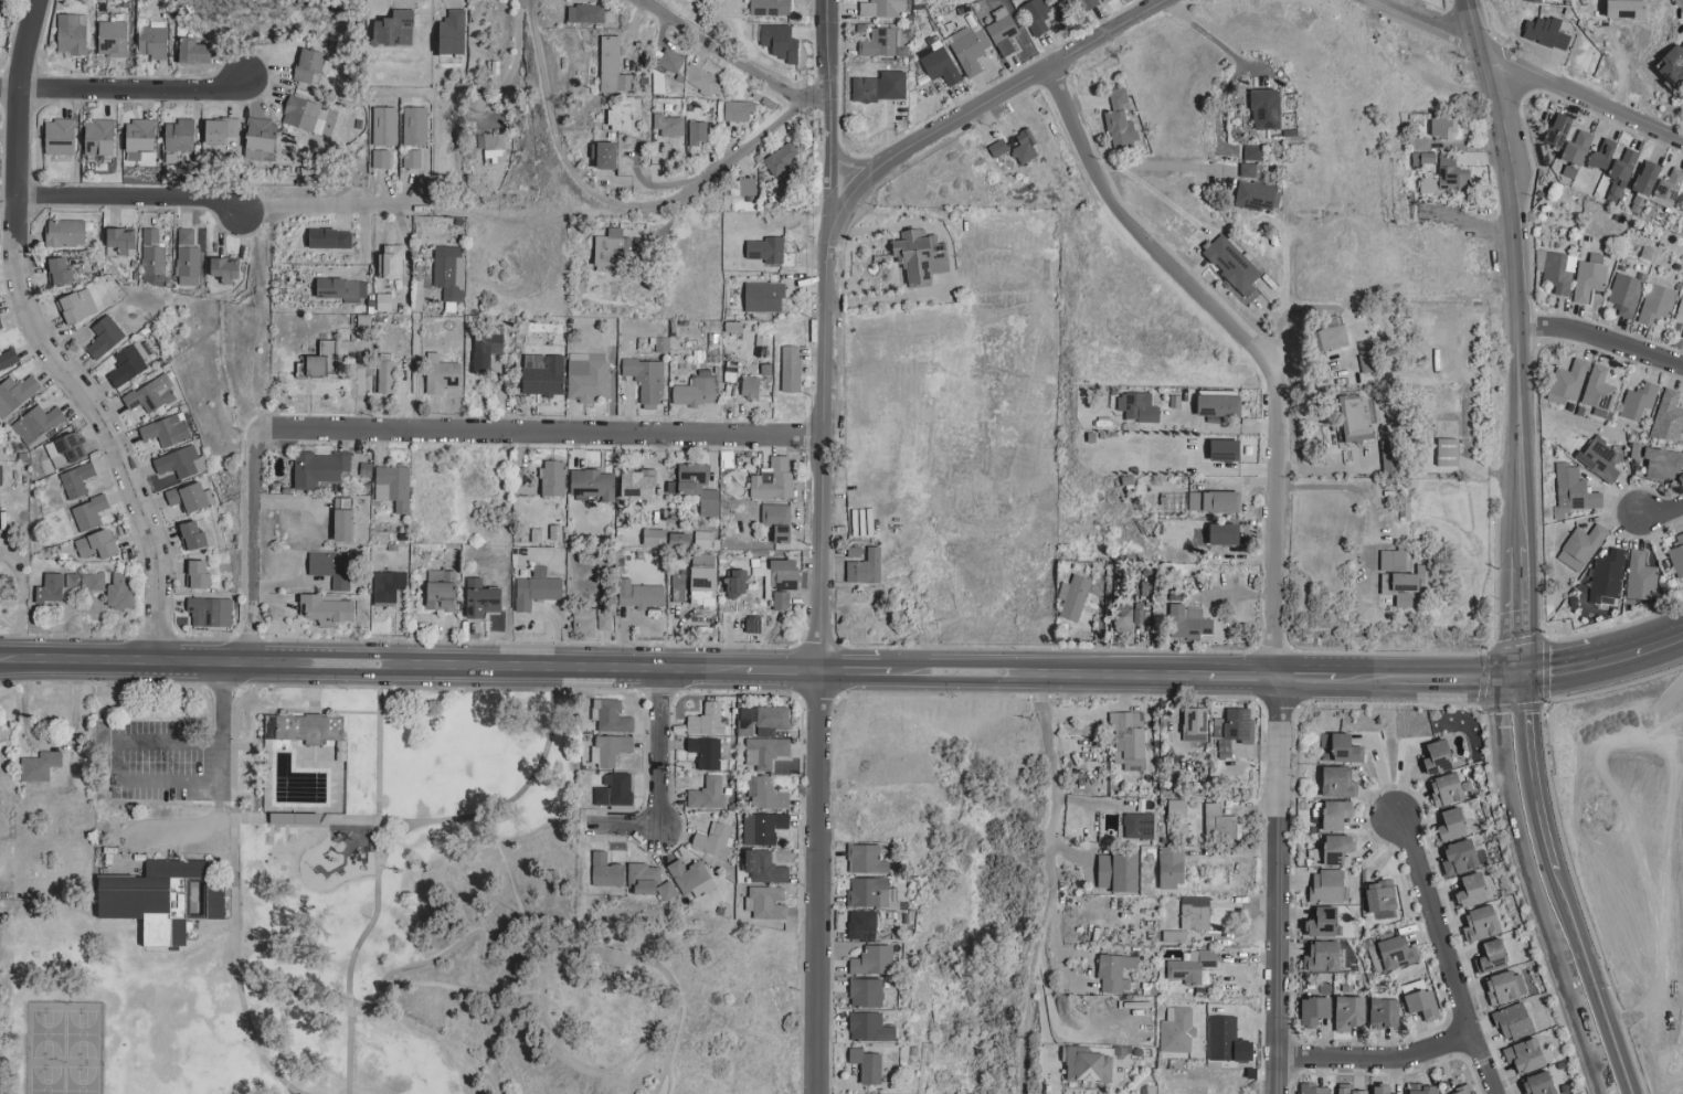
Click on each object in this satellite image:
building: (1532, 0)
building: (1084, 4)
road: (1676, 6)
building: (770, 7)
building: (882, 8)
building: (1618, 8)
building: (588, 13)
building: (1035, 15)
road: (1470, 19)
building: (394, 29)
building: (1002, 30)
building: (1542, 31)
building: (454, 32)
building: (71, 34)
road: (1209, 36)
building: (113, 38)
building: (152, 40)
building: (781, 41)
building: (968, 47)
building: (194, 51)
road: (734, 57)
building: (673, 60)
road: (515, 61)
road: (1529, 61)
building: (940, 63)
building: (308, 64)
building: (616, 66)
road: (126, 78)
building: (705, 79)
building: (880, 86)
building: (1681, 91)
road: (996, 95)
road: (549, 102)
building: (1267, 108)
building: (738, 109)
building: (303, 114)
building: (624, 118)
building: (1120, 119)
building: (671, 125)
building: (1439, 125)
building: (384, 126)
building: (415, 126)
building: (221, 130)
building: (699, 132)
building: (1552, 132)
building: (262, 134)
building: (179, 135)
building: (59, 136)
building: (99, 137)
building: (139, 138)
road: (748, 144)
building: (1418, 144)
building: (491, 147)
building: (998, 147)
building: (1025, 147)
building: (1570, 149)
building: (1252, 152)
building: (607, 155)
building: (782, 158)
building: (381, 159)
building: (411, 159)
building: (1607, 160)
road: (1166, 164)
building: (1438, 167)
building: (1249, 169)
building: (743, 187)
building: (1663, 189)
road: (129, 193)
building: (1677, 202)
road: (325, 204)
road: (636, 206)
road: (1146, 230)
building: (65, 233)
building: (330, 238)
building: (123, 240)
building: (766, 249)
building: (608, 251)
building: (920, 256)
building: (151, 257)
building: (187, 258)
building: (391, 262)
building: (1231, 265)
building: (225, 268)
building: (448, 270)
building: (60, 272)
building: (1557, 272)
building: (1587, 276)
road: (1282, 286)
building: (342, 289)
building: (1622, 294)
building: (764, 296)
road: (1516, 297)
building: (384, 301)
building: (1654, 304)
building: (1680, 309)
building: (0, 327)
building: (1681, 333)
road: (1602, 334)
building: (104, 337)
building: (1323, 338)
road: (50, 341)
building: (486, 349)
road: (415, 355)
building: (126, 365)
building: (790, 369)
building: (441, 373)
building: (385, 376)
building: (544, 378)
building: (1566, 379)
building: (588, 380)
building: (645, 380)
building: (750, 387)
building: (1596, 391)
building: (695, 392)
building: (15, 393)
building: (151, 394)
building: (1636, 401)
building: (1220, 405)
building: (1137, 406)
building: (1665, 417)
building: (36, 423)
road: (541, 425)
building: (167, 429)
building: (65, 449)
building: (1227, 449)
building: (1596, 458)
building: (181, 461)
building: (1660, 461)
building: (319, 468)
building: (1, 475)
building: (552, 478)
building: (774, 479)
building: (76, 480)
building: (594, 484)
building: (394, 485)
building: (639, 485)
building: (699, 487)
building: (1574, 489)
road: (1366, 491)
building: (191, 497)
building: (1173, 501)
building: (1214, 501)
building: (89, 512)
building: (775, 513)
road: (1659, 514)
building: (343, 520)
building: (555, 532)
building: (783, 533)
building: (1226, 534)
building: (192, 535)
building: (654, 537)
building: (679, 540)
building: (705, 540)
road: (260, 542)
building: (1581, 542)
building: (97, 544)
road: (823, 546)
building: (854, 552)
building: (1676, 554)
building: (1388, 559)
building: (332, 567)
building: (866, 567)
building: (201, 576)
building: (1605, 576)
building: (1638, 576)
building: (1401, 580)
building: (92, 581)
building: (737, 584)
building: (388, 586)
building: (703, 586)
building: (50, 587)
building: (677, 587)
building: (441, 590)
building: (121, 591)
building: (536, 592)
building: (639, 594)
building: (1073, 597)
building: (481, 598)
road: (22, 599)
building: (781, 599)
building: (1399, 599)
building: (327, 609)
building: (207, 612)
building: (1137, 614)
building: (1122, 617)
road: (1514, 617)
building: (590, 620)
building: (1187, 622)
road: (1600, 661)
road: (756, 666)
road: (294, 709)
road: (317, 714)
building: (611, 714)
building: (707, 720)
building: (762, 720)
building: (1195, 720)
building: (1235, 723)
building: (313, 729)
road: (1277, 731)
building: (1128, 739)
road: (120, 741)
road: (658, 746)
building: (1225, 746)
building: (1341, 746)
building: (610, 748)
building: (765, 751)
building: (706, 752)
building: (1439, 756)
parking lot: (166, 761)
building: (38, 765)
road: (1517, 773)
building: (1338, 779)
road: (1048, 786)
building: (614, 788)
building: (1449, 788)
building: (708, 793)
building: (766, 793)
road: (520, 798)
building: (1176, 807)
building: (1338, 812)
road: (309, 821)
building: (1218, 821)
building: (1454, 822)
building: (1139, 825)
building: (769, 826)
road: (627, 827)
building: (715, 839)
road: (396, 840)
building: (1338, 847)
building: (1462, 856)
building: (866, 858)
building: (765, 865)
building: (1172, 865)
building: (606, 870)
building: (1118, 871)
building: (691, 877)
building: (648, 879)
building: (1327, 885)
building: (1474, 889)
building: (868, 891)
building: (1383, 894)
building: (167, 899)
building: (766, 901)
building: (1195, 912)
park: (370, 916)
building: (1324, 921)
road: (372, 922)
building: (1482, 922)
building: (861, 924)
road: (1042, 935)
road: (235, 945)
road: (522, 948)
building: (1391, 952)
road: (1444, 954)
building: (1493, 955)
building: (1324, 956)
building: (872, 959)
building: (1192, 965)
building: (1115, 970)
road: (1575, 983)
building: (1503, 987)
building: (866, 991)
building: (1423, 1002)
building: (1316, 1009)
building: (1351, 1011)
building: (1385, 1011)
road: (1044, 1018)
building: (1513, 1021)
building: (869, 1027)
road: (1026, 1031)
road: (351, 1048)
park: (66, 1049)
building: (1526, 1054)
road: (1376, 1059)
building: (867, 1064)
building: (1087, 1064)
road: (588, 1066)
road: (669, 1068)
building: (1541, 1083)
building: (1313, 1088)
building: (1425, 1088)
building: (1352, 1090)
building: (1384, 1090)
building: (1463, 1090)

